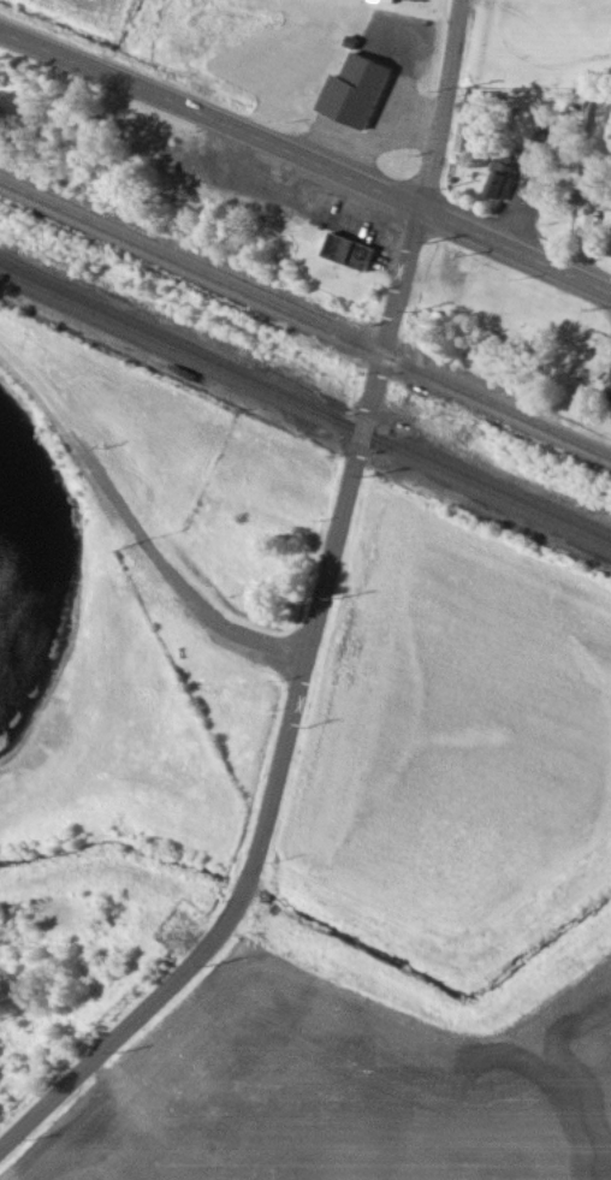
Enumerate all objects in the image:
building: (391, 1)
park: (535, 41)
building: (364, 91)
building: (479, 129)
road: (307, 162)
building: (506, 180)
road: (516, 250)
building: (358, 254)
railway: (304, 316)
railway: (304, 409)
road: (368, 413)
road: (140, 529)
road: (160, 1007)

